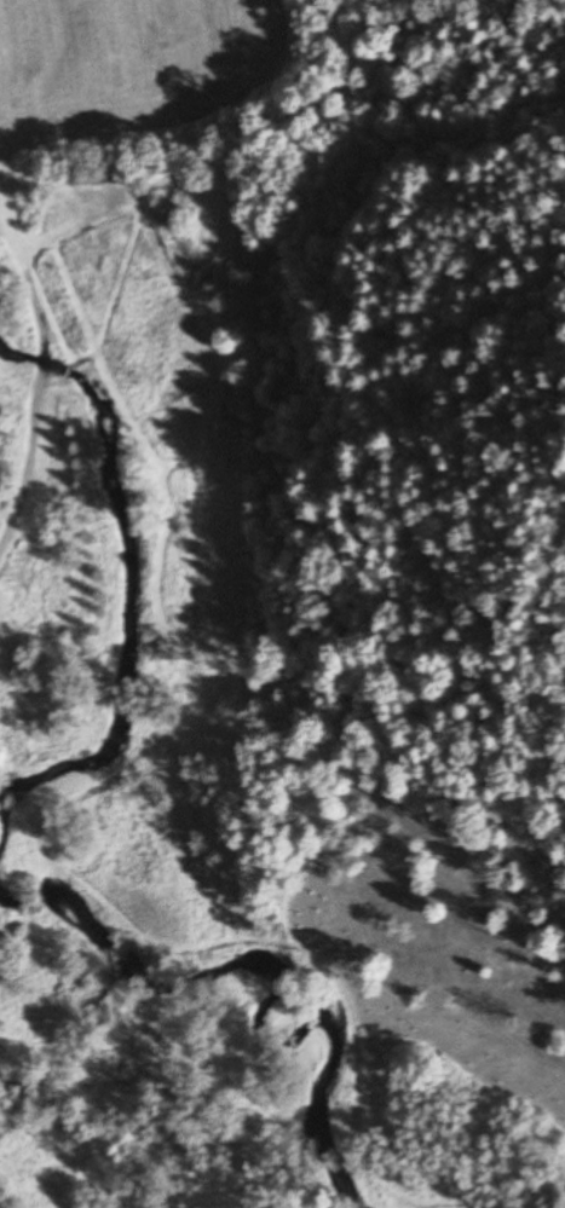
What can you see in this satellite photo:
road: (30, 550)

